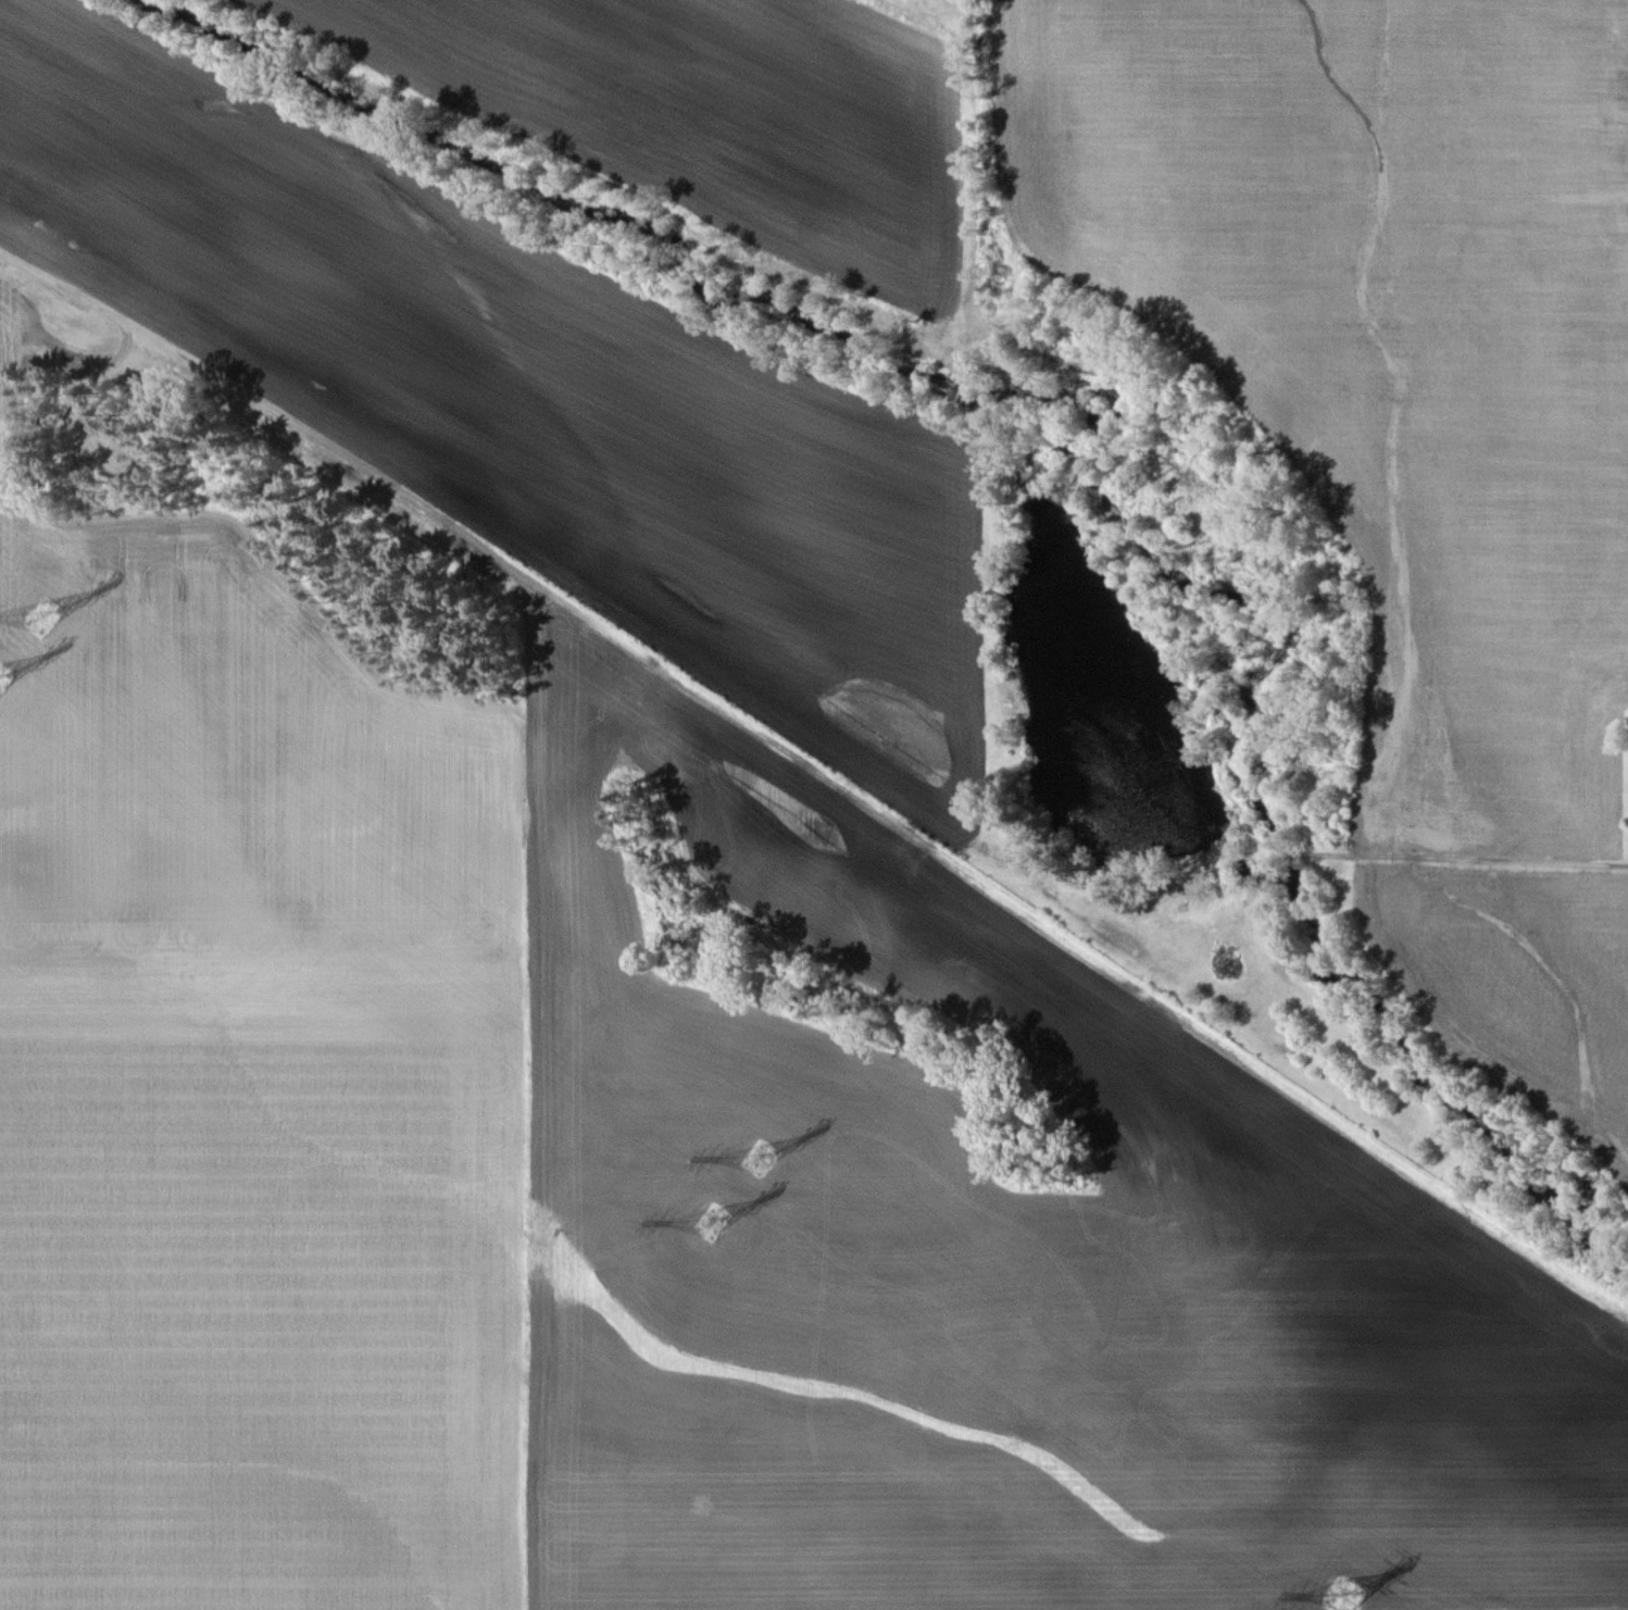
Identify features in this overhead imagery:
power tower: (50, 611)
road: (1447, 857)
power tower: (762, 1157)
power tower: (717, 1219)
power tower: (1350, 1593)

